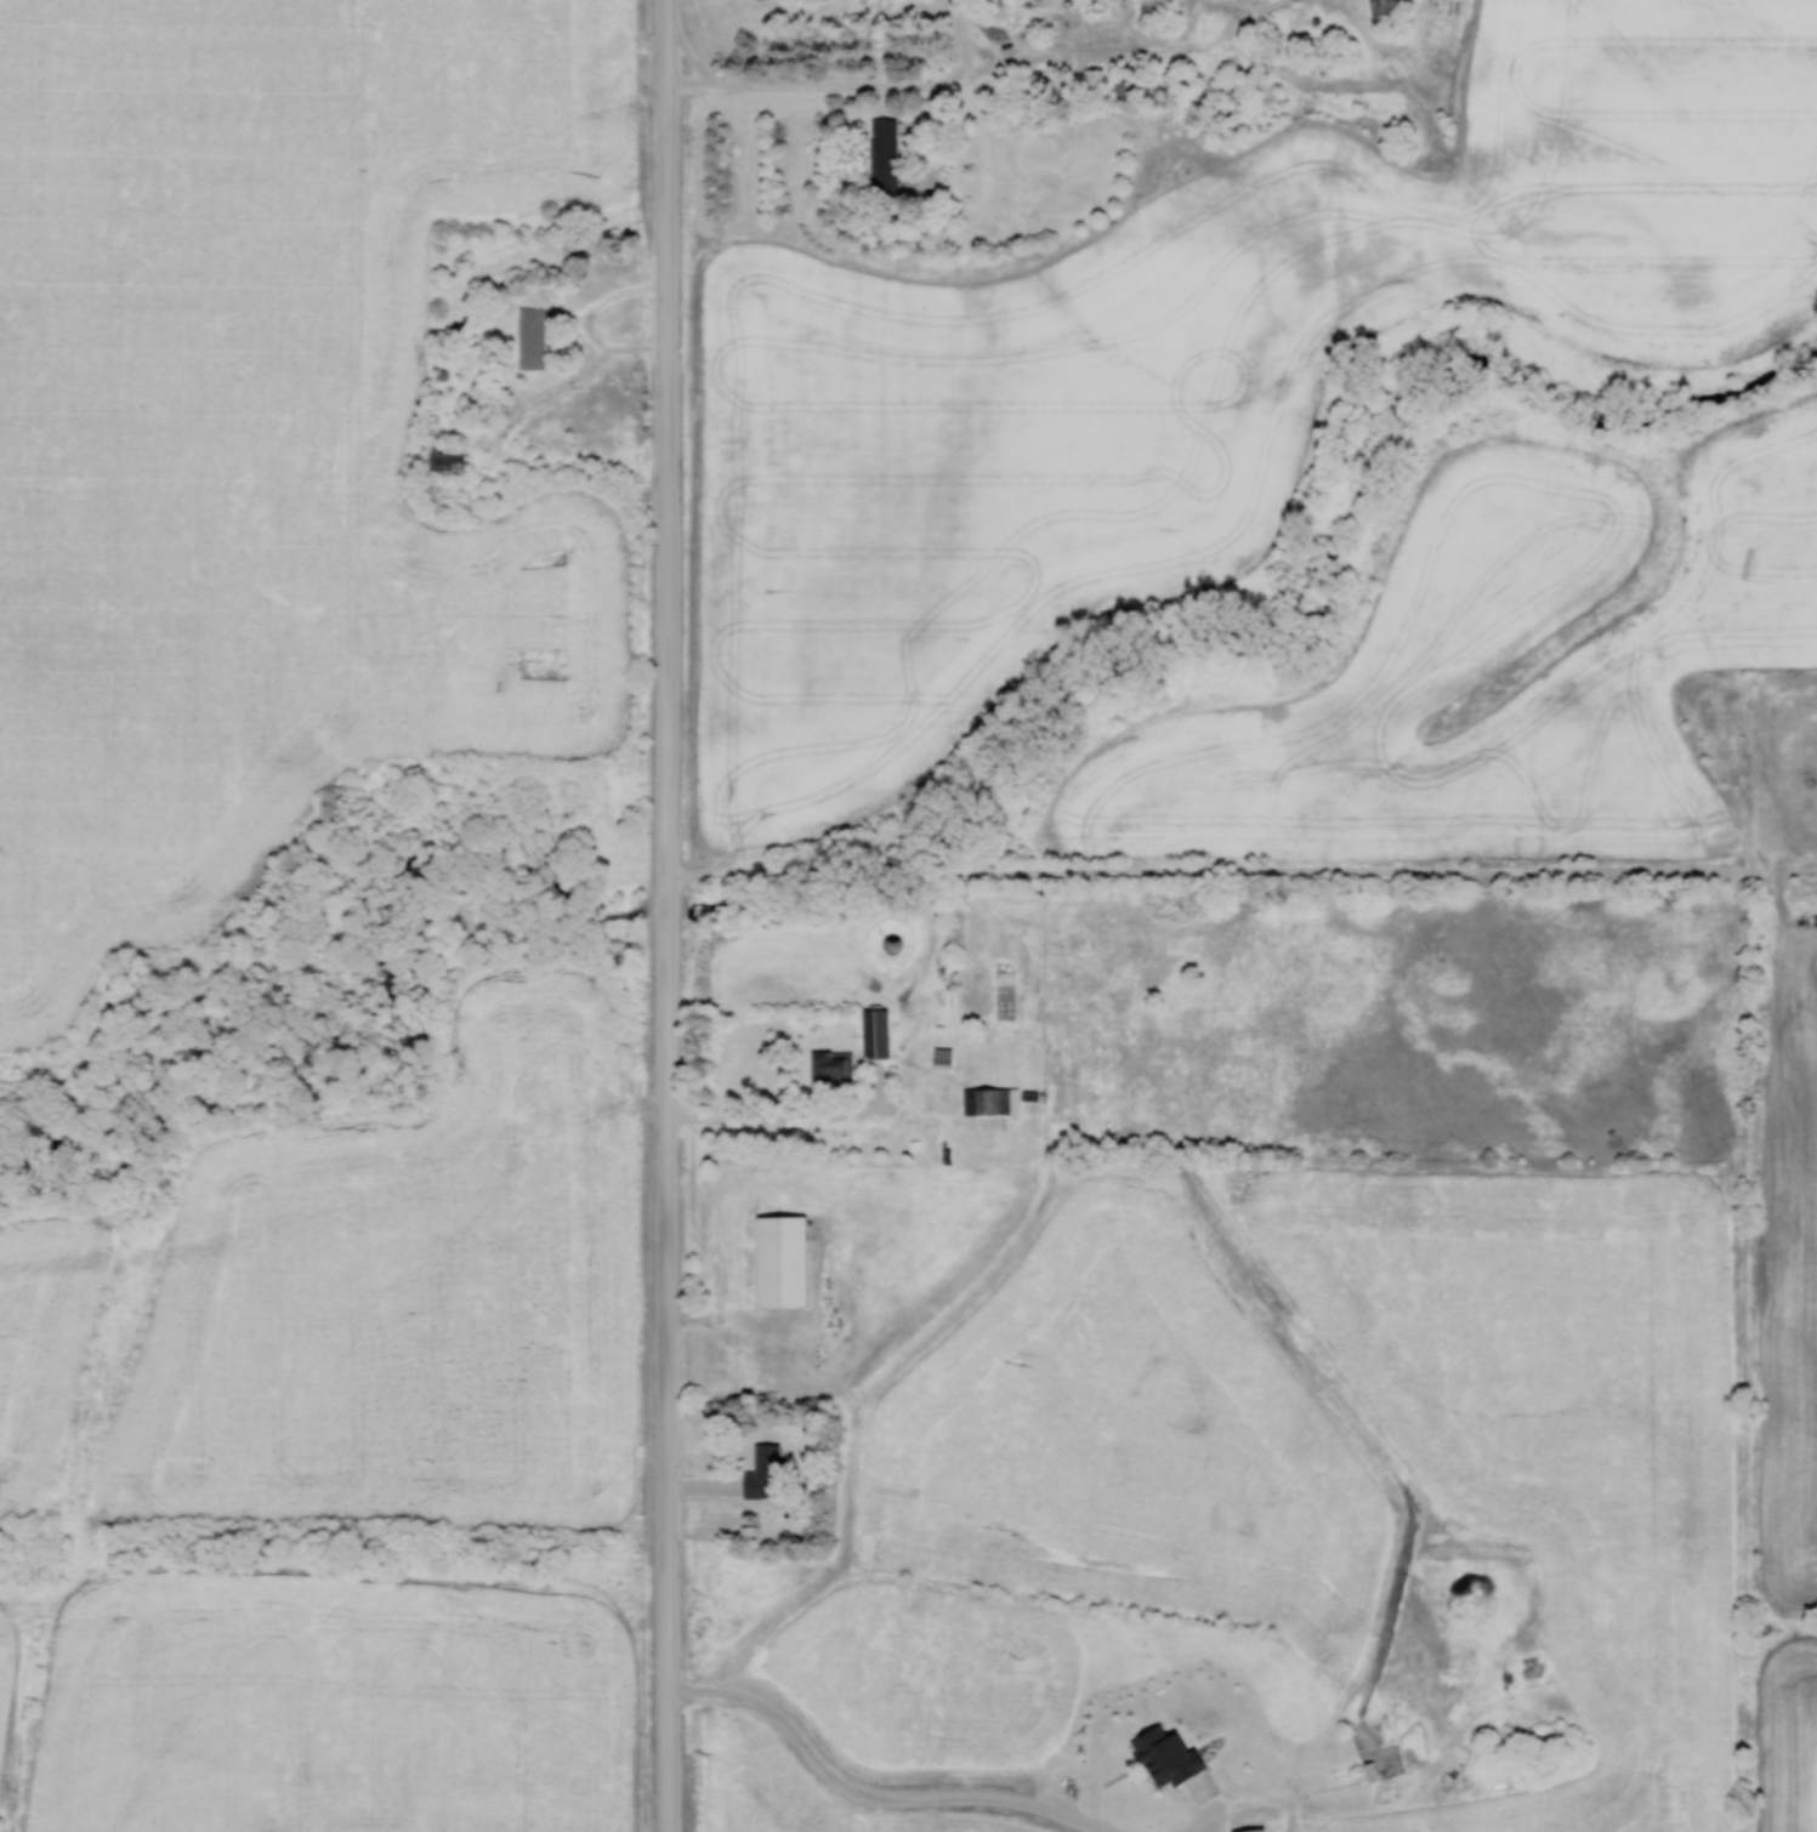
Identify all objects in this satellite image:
building: (1157, 2)
building: (1390, 5)
road: (687, 53)
road: (848, 86)
building: (884, 154)
building: (530, 337)
road: (668, 915)
building: (875, 1032)
building: (831, 1064)
building: (990, 1100)
road: (779, 1119)
building: (782, 1261)
building: (762, 1472)
building: (1166, 1757)
road: (868, 1796)
road: (1210, 1813)
building: (1250, 1830)

